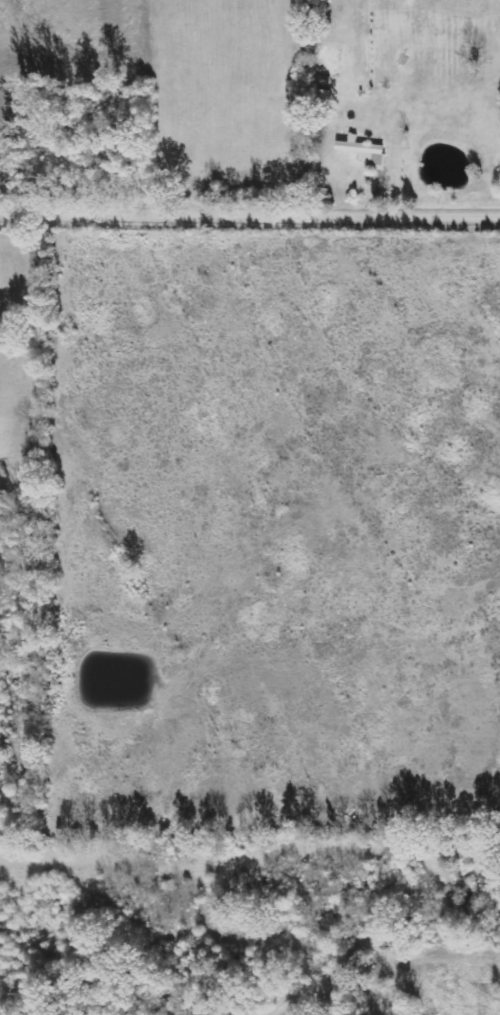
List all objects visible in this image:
building: (364, 151)
road: (250, 215)

